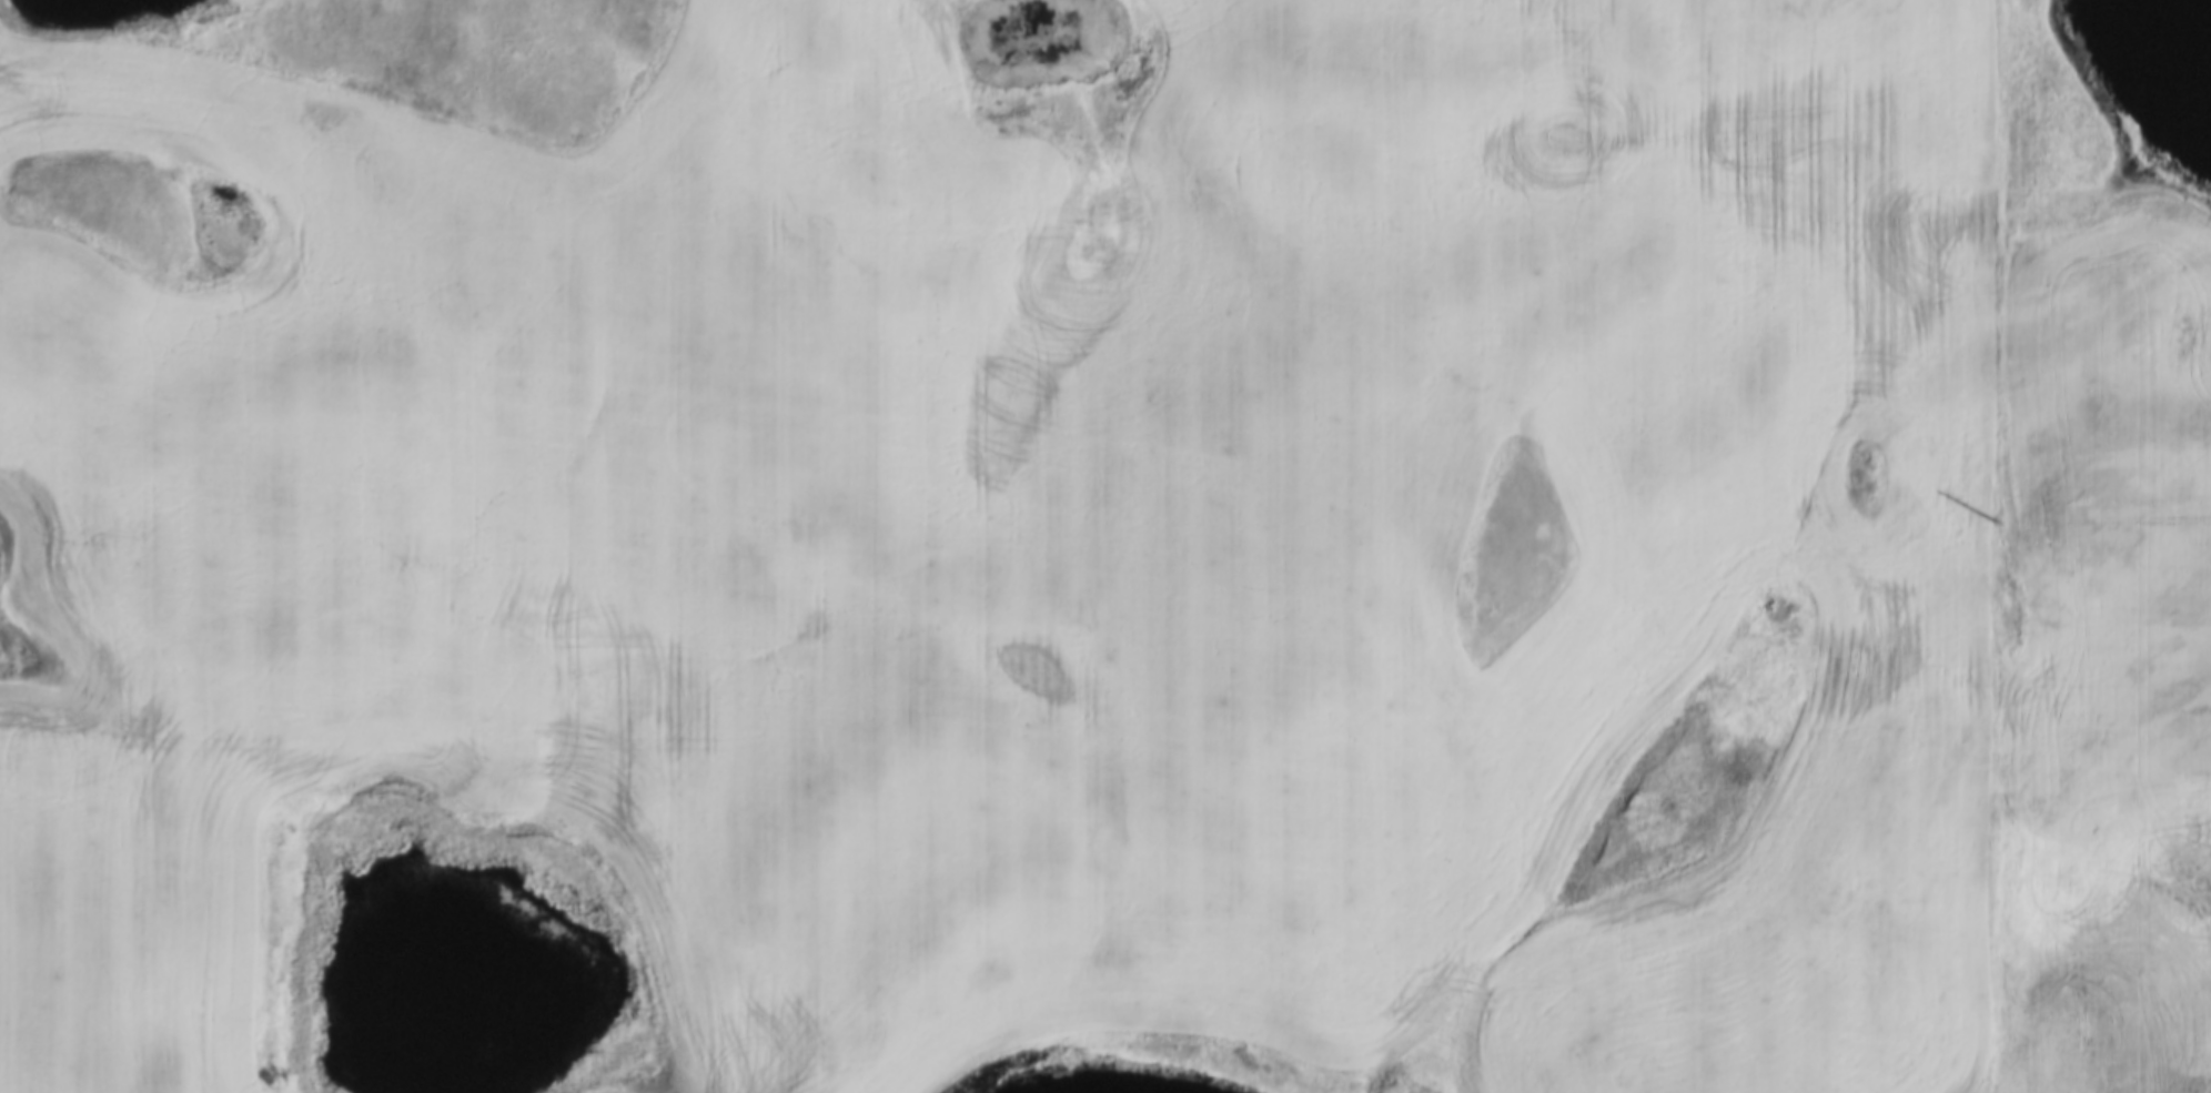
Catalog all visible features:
road: (7, 690)

